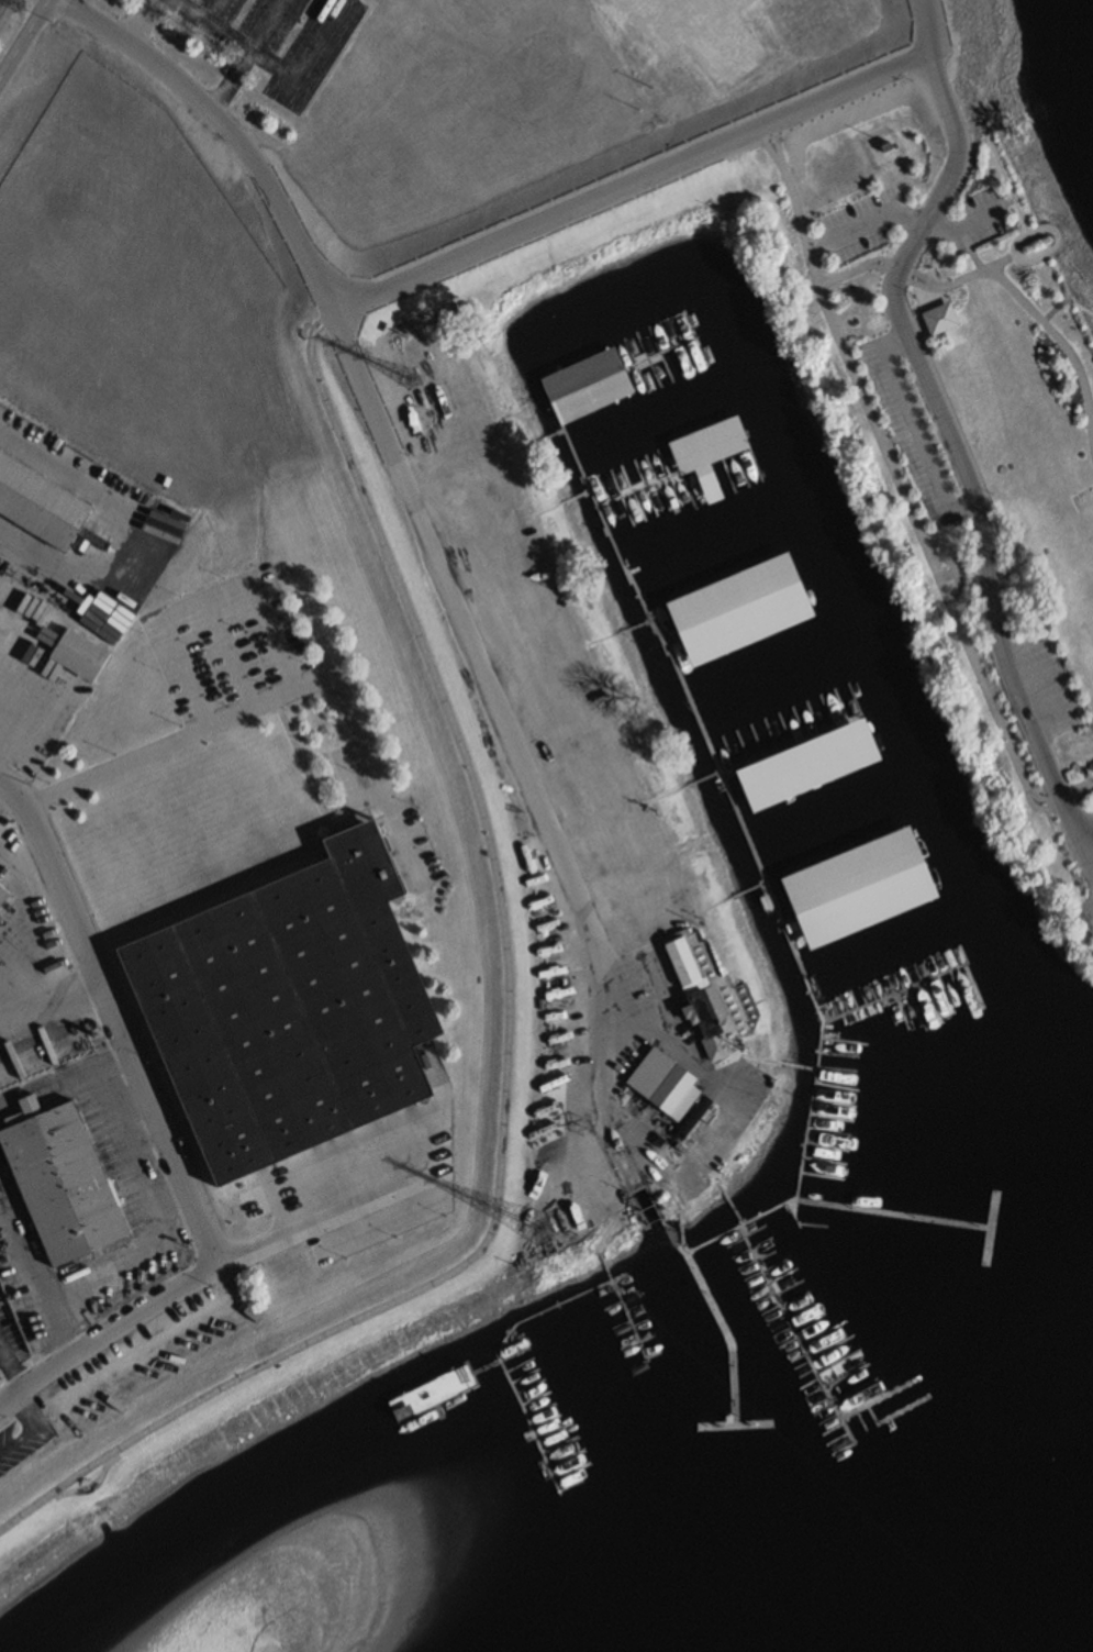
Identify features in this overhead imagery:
power tower: (19, 9)
building: (660, 12)
road: (945, 21)
road: (140, 22)
road: (24, 40)
road: (996, 119)
road: (779, 145)
road: (771, 148)
road: (642, 180)
road: (922, 219)
parking lot: (992, 219)
parking lot: (858, 223)
road: (801, 224)
road: (1072, 244)
road: (817, 247)
road: (989, 257)
road: (1011, 259)
road: (1002, 277)
road: (1066, 301)
building: (939, 318)
power tower: (410, 378)
building: (590, 386)
park: (913, 391)
road: (1091, 408)
parking lot: (923, 426)
road: (953, 428)
road: (916, 430)
road: (891, 441)
building: (711, 446)
building: (42, 501)
road: (412, 502)
road: (935, 570)
road: (956, 570)
road: (947, 575)
road: (204, 598)
building: (741, 610)
road: (228, 654)
building: (81, 656)
parking lot: (1042, 688)
road: (279, 698)
building: (811, 766)
road: (1074, 828)
road: (1085, 833)
road: (1085, 853)
parking lot: (1081, 854)
building: (863, 888)
building: (3, 894)
building: (709, 993)
building: (291, 1010)
road: (115, 1015)
road: (509, 1042)
building: (668, 1085)
building: (65, 1179)
road: (326, 1215)
power tower: (557, 1234)
road: (109, 1330)
road: (7, 1377)
building: (442, 1389)
road: (22, 1426)
river: (904, 1570)

